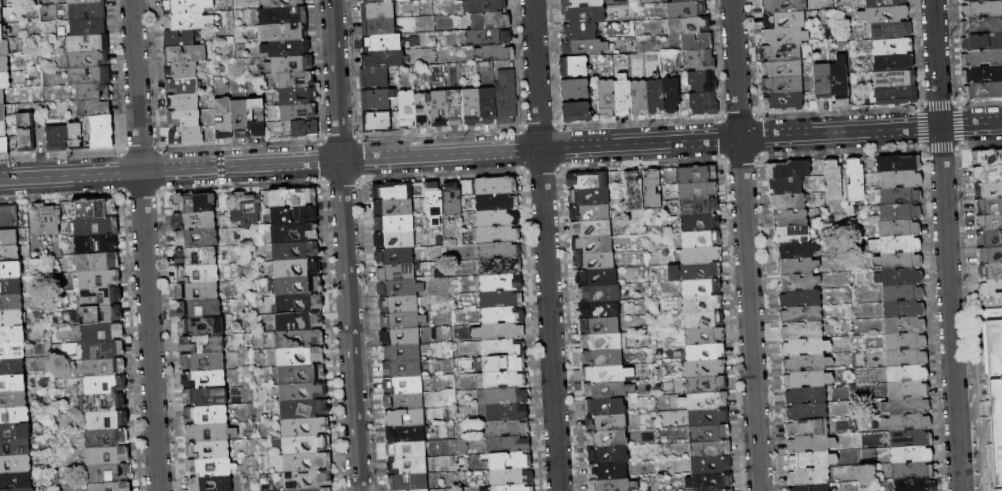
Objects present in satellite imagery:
building: (375, 1)
building: (404, 1)
building: (685, 1)
building: (85, 2)
building: (982, 2)
building: (581, 3)
building: (884, 3)
building: (0, 4)
building: (282, 4)
building: (186, 6)
building: (483, 6)
building: (784, 6)
building: (686, 10)
building: (87, 11)
building: (377, 11)
building: (981, 13)
building: (884, 14)
building: (584, 15)
building: (0, 16)
building: (282, 16)
building: (784, 20)
building: (187, 21)
building: (491, 21)
building: (378, 26)
building: (688, 26)
building: (88, 27)
building: (980, 27)
building: (891, 30)
building: (1, 32)
building: (579, 32)
building: (282, 33)
building: (488, 37)
building: (783, 37)
building: (179, 38)
building: (382, 42)
building: (697, 42)
building: (981, 42)
building: (87, 43)
building: (894, 46)
building: (4, 48)
building: (584, 48)
building: (286, 49)
building: (494, 53)
building: (781, 53)
building: (184, 54)
building: (982, 58)
building: (87, 59)
building: (383, 59)
building: (701, 60)
building: (894, 62)
building: (4, 64)
building: (291, 64)
building: (573, 67)
building: (782, 69)
building: (181, 70)
building: (982, 75)
building: (90, 76)
building: (374, 78)
building: (894, 79)
building: (295, 80)
building: (4, 81)
building: (822, 81)
building: (840, 81)
building: (703, 82)
building: (782, 85)
building: (182, 86)
building: (575, 90)
building: (92, 92)
building: (982, 92)
building: (671, 95)
building: (297, 96)
building: (897, 96)
building: (2, 97)
building: (506, 97)
building: (623, 97)
building: (655, 97)
building: (639, 98)
building: (377, 99)
building: (607, 99)
building: (783, 102)
building: (183, 103)
road: (938, 103)
road: (980, 103)
building: (703, 104)
road: (956, 104)
road: (919, 105)
building: (488, 106)
building: (455, 107)
building: (472, 107)
building: (94, 108)
building: (439, 108)
building: (407, 110)
building: (423, 111)
building: (298, 112)
building: (576, 112)
road: (839, 112)
building: (2, 113)
road: (739, 115)
road: (758, 116)
building: (184, 118)
building: (223, 118)
building: (256, 118)
building: (240, 119)
road: (721, 119)
building: (377, 123)
road: (640, 123)
road: (958, 124)
road: (538, 126)
road: (557, 126)
road: (919, 127)
building: (304, 128)
road: (520, 128)
building: (3, 129)
building: (101, 132)
building: (26, 133)
building: (186, 135)
building: (75, 136)
road: (762, 137)
building: (57, 138)
road: (722, 140)
road: (981, 142)
building: (4, 145)
road: (958, 145)
road: (559, 147)
road: (922, 147)
road: (940, 147)
road: (520, 149)
road: (501, 151)
road: (842, 152)
building: (986, 156)
road: (761, 158)
road: (743, 160)
road: (725, 161)
road: (642, 163)
building: (899, 164)
road: (559, 167)
road: (523, 169)
road: (541, 169)
building: (788, 170)
building: (986, 172)
building: (696, 174)
building: (855, 179)
building: (588, 180)
building: (833, 180)
building: (901, 180)
building: (498, 186)
building: (785, 186)
building: (989, 188)
building: (653, 190)
building: (393, 191)
building: (698, 191)
building: (634, 192)
building: (589, 197)
building: (901, 197)
building: (292, 198)
building: (452, 200)
building: (496, 202)
building: (787, 202)
building: (194, 203)
building: (434, 203)
building: (988, 204)
building: (699, 207)
building: (394, 208)
building: (93, 209)
building: (245, 209)
building: (590, 213)
building: (900, 213)
building: (8, 216)
building: (293, 216)
building: (790, 218)
building: (45, 219)
building: (497, 219)
building: (988, 220)
building: (194, 221)
building: (700, 223)
building: (394, 224)
building: (96, 227)
building: (591, 229)
building: (900, 229)
building: (295, 234)
building: (792, 234)
building: (498, 235)
building: (989, 237)
building: (8, 238)
building: (196, 239)
building: (701, 239)
building: (395, 240)
building: (97, 245)
road: (144, 245)
road: (345, 245)
road: (545, 245)
building: (592, 245)
road: (745, 245)
building: (895, 245)
road: (946, 245)
building: (797, 250)
building: (295, 251)
building: (499, 251)
building: (990, 253)
building: (9, 254)
building: (701, 255)
building: (196, 256)
building: (395, 256)
building: (898, 261)
building: (98, 262)
building: (594, 262)
building: (500, 267)
building: (798, 267)
building: (296, 269)
building: (990, 270)
building: (10, 271)
building: (694, 272)
building: (396, 273)
building: (197, 274)
building: (597, 277)
building: (899, 277)
building: (99, 280)
building: (501, 283)
building: (799, 283)
building: (297, 286)
building: (990, 286)
building: (10, 287)
building: (400, 288)
building: (701, 288)
building: (197, 291)
building: (600, 293)
building: (903, 293)
building: (100, 297)
building: (800, 299)
building: (501, 300)
building: (10, 303)
building: (298, 304)
building: (703, 304)
building: (399, 305)
building: (199, 309)
building: (600, 309)
building: (905, 310)
building: (100, 315)
building: (503, 315)
building: (801, 315)
building: (11, 319)
building: (704, 320)
building: (298, 321)
building: (403, 321)
building: (600, 326)
building: (905, 326)
building: (202, 327)
building: (802, 331)
building: (499, 332)
building: (103, 333)
building: (12, 335)
building: (705, 336)
building: (400, 337)
building: (298, 339)
building: (604, 342)
building: (905, 342)
building: (203, 345)
building: (503, 348)
building: (806, 348)
building: (103, 350)
building: (11, 351)
building: (706, 352)
building: (401, 353)
building: (299, 357)
building: (602, 358)
building: (906, 358)
building: (202, 362)
building: (504, 364)
building: (807, 364)
building: (12, 367)
building: (104, 367)
building: (402, 369)
building: (705, 369)
building: (301, 374)
building: (607, 374)
building: (907, 374)
building: (204, 380)
building: (504, 380)
building: (807, 380)
building: (12, 383)
building: (105, 385)
building: (403, 385)
building: (706, 385)
building: (609, 390)
building: (908, 390)
building: (302, 392)
building: (506, 396)
building: (805, 396)
building: (206, 397)
building: (994, 397)
building: (13, 399)
building: (704, 401)
building: (404, 402)
building: (104, 403)
building: (906, 406)
building: (605, 407)
building: (304, 409)
building: (806, 412)
building: (507, 413)
building: (14, 415)
building: (206, 415)
building: (707, 417)
building: (405, 418)
building: (107, 420)
building: (606, 422)
building: (907, 423)
building: (304, 427)
building: (507, 429)
building: (805, 429)
building: (15, 431)
building: (209, 432)
building: (709, 433)
building: (406, 434)
building: (106, 438)
building: (607, 439)
building: (912, 439)
building: (304, 445)
building: (508, 445)
building: (811, 445)
building: (14, 448)
building: (710, 449)
building: (208, 450)
building: (406, 450)
building: (608, 455)
building: (912, 455)
building: (108, 456)
building: (510, 461)
building: (812, 461)
building: (307, 462)
building: (15, 464)
building: (711, 465)
building: (407, 466)
building: (211, 468)
building: (608, 471)
building: (913, 471)
building: (108, 474)
building: (510, 477)
building: (808, 477)
building: (307, 480)
building: (15, 481)
building: (408, 482)
building: (713, 482)
building: (210, 484)
building: (613, 485)
building: (916, 485)
building: (110, 487)
building: (512, 488)
building: (810, 488)
building: (18, 490)
building: (316, 490)
building: (421, 490)
building: (725, 490)

